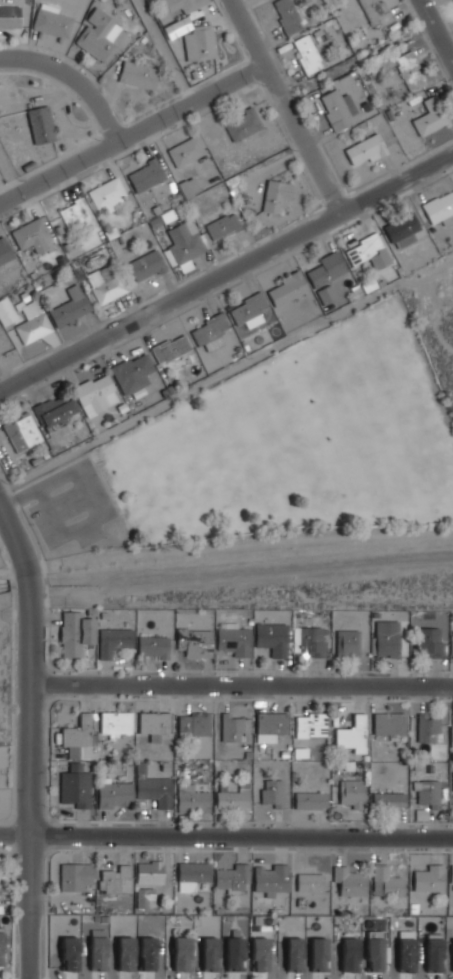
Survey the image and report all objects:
building: (184, 5)
building: (375, 12)
building: (287, 16)
building: (9, 17)
building: (52, 22)
building: (176, 28)
road: (436, 30)
building: (98, 35)
building: (199, 43)
road: (165, 51)
building: (307, 54)
road: (357, 59)
building: (409, 71)
building: (137, 75)
road: (74, 77)
road: (288, 105)
building: (337, 109)
building: (430, 117)
building: (40, 125)
building: (242, 125)
road: (132, 133)
building: (366, 149)
building: (185, 151)
road: (9, 173)
building: (146, 175)
building: (188, 187)
building: (107, 194)
building: (275, 196)
building: (74, 215)
building: (222, 226)
building: (402, 231)
building: (31, 235)
building: (183, 243)
building: (4, 252)
building: (368, 252)
building: (145, 266)
building: (326, 269)
road: (226, 272)
building: (105, 284)
building: (288, 289)
building: (326, 294)
road: (428, 303)
building: (70, 307)
building: (6, 312)
building: (247, 313)
building: (35, 325)
building: (209, 333)
building: (170, 349)
building: (132, 373)
building: (95, 394)
building: (55, 409)
building: (21, 432)
park: (266, 455)
road: (16, 497)
parking lot: (71, 505)
road: (108, 512)
road: (13, 535)
road: (249, 548)
road: (23, 573)
road: (28, 589)
building: (74, 633)
building: (271, 638)
building: (386, 639)
building: (233, 640)
building: (113, 641)
building: (311, 641)
building: (194, 642)
building: (429, 642)
building: (347, 643)
building: (451, 644)
building: (152, 646)
road: (241, 684)
building: (115, 722)
building: (271, 723)
building: (193, 724)
building: (388, 724)
building: (153, 725)
building: (310, 725)
building: (231, 728)
building: (428, 729)
building: (452, 731)
building: (352, 734)
building: (79, 739)
building: (452, 775)
building: (75, 786)
building: (153, 789)
building: (272, 793)
building: (350, 793)
building: (113, 794)
building: (428, 795)
road: (27, 796)
building: (191, 797)
building: (233, 798)
building: (310, 800)
building: (388, 800)
road: (13, 835)
road: (240, 836)
building: (149, 872)
building: (193, 872)
building: (452, 874)
building: (74, 876)
building: (232, 878)
building: (113, 879)
building: (271, 879)
building: (429, 879)
building: (309, 882)
building: (349, 882)
building: (386, 882)
building: (143, 897)
building: (452, 938)
building: (0, 947)
building: (97, 949)
building: (69, 954)
building: (125, 954)
building: (147, 954)
building: (181, 954)
building: (209, 954)
building: (234, 954)
building: (259, 954)
building: (318, 954)
building: (293, 955)
building: (349, 955)
building: (374, 955)
building: (405, 955)
building: (433, 955)

